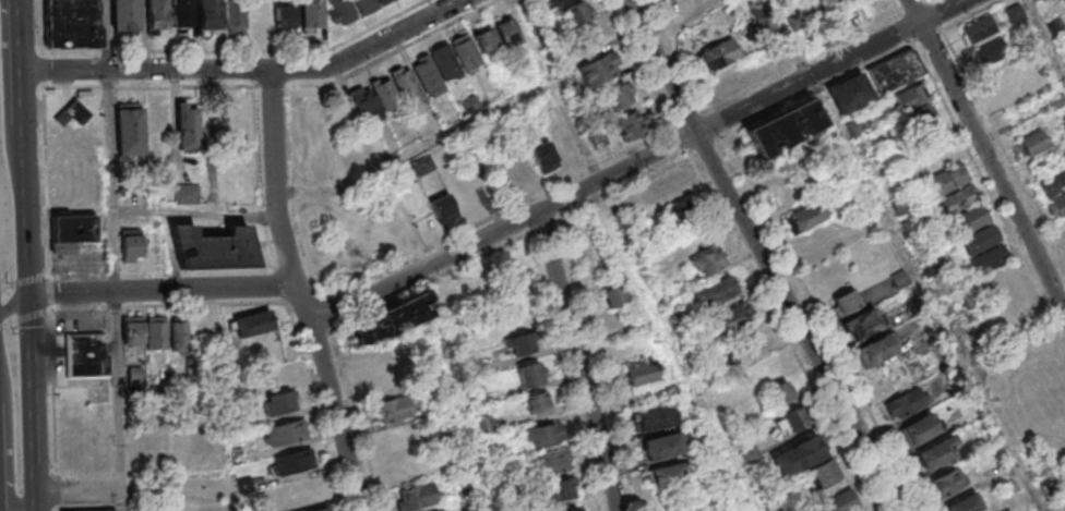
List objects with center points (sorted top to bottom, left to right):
building: (834, 0)
building: (383, 1)
building: (558, 1)
building: (1064, 1)
building: (366, 5)
building: (689, 7)
building: (342, 12)
building: (208, 13)
building: (123, 14)
building: (179, 14)
building: (311, 14)
building: (574, 14)
building: (154, 15)
building: (234, 15)
building: (284, 15)
building: (259, 16)
road: (21, 20)
building: (72, 23)
road: (41, 26)
building: (979, 31)
building: (506, 33)
road: (105, 35)
road: (1044, 39)
building: (490, 49)
building: (465, 51)
road: (242, 52)
building: (990, 54)
building: (717, 57)
building: (445, 62)
road: (251, 70)
road: (44, 71)
building: (599, 71)
building: (893, 72)
building: (428, 76)
building: (1008, 80)
building: (407, 87)
road: (554, 90)
road: (23, 92)
building: (385, 93)
building: (849, 93)
building: (619, 97)
road: (7, 102)
building: (468, 104)
building: (367, 105)
building: (916, 108)
building: (76, 113)
building: (1063, 123)
building: (783, 124)
building: (632, 125)
building: (854, 126)
building: (187, 127)
building: (129, 130)
building: (929, 139)
building: (1031, 143)
road: (415, 148)
building: (543, 156)
road: (985, 156)
building: (421, 165)
road: (26, 174)
road: (112, 181)
road: (47, 182)
building: (952, 188)
building: (1054, 192)
building: (184, 193)
building: (443, 208)
building: (806, 216)
building: (970, 219)
road: (27, 224)
road: (511, 226)
building: (73, 228)
building: (131, 245)
building: (212, 247)
building: (983, 250)
road: (761, 256)
building: (708, 261)
road: (28, 264)
road: (432, 282)
road: (25, 283)
road: (29, 288)
road: (301, 291)
building: (716, 291)
road: (50, 292)
traffic signals: (29, 294)
road: (922, 294)
building: (615, 296)
road: (16, 301)
building: (845, 302)
road: (167, 305)
building: (733, 316)
road: (25, 318)
building: (391, 320)
building: (253, 324)
building: (861, 324)
building: (132, 331)
building: (156, 332)
building: (178, 333)
building: (519, 343)
road: (671, 350)
building: (877, 350)
building: (86, 355)
road: (578, 361)
building: (642, 372)
road: (564, 373)
building: (531, 374)
road: (457, 389)
road: (120, 392)
road: (53, 393)
building: (779, 393)
building: (537, 401)
road: (33, 402)
building: (279, 402)
building: (906, 402)
road: (315, 405)
building: (393, 410)
building: (653, 417)
building: (791, 421)
road: (359, 422)
building: (486, 424)
building: (919, 429)
building: (284, 433)
building: (541, 436)
road: (9, 445)
building: (666, 445)
building: (181, 446)
building: (204, 447)
building: (936, 452)
building: (749, 454)
building: (798, 455)
building: (290, 462)
building: (548, 463)
building: (824, 473)
building: (669, 474)
building: (948, 482)
building: (557, 490)
road: (133, 491)
road: (57, 494)
building: (415, 497)
road: (122, 501)
building: (840, 501)
building: (964, 503)
building: (320, 509)
building: (576, 509)
building: (89, 510)
building: (442, 510)
building: (861, 510)

